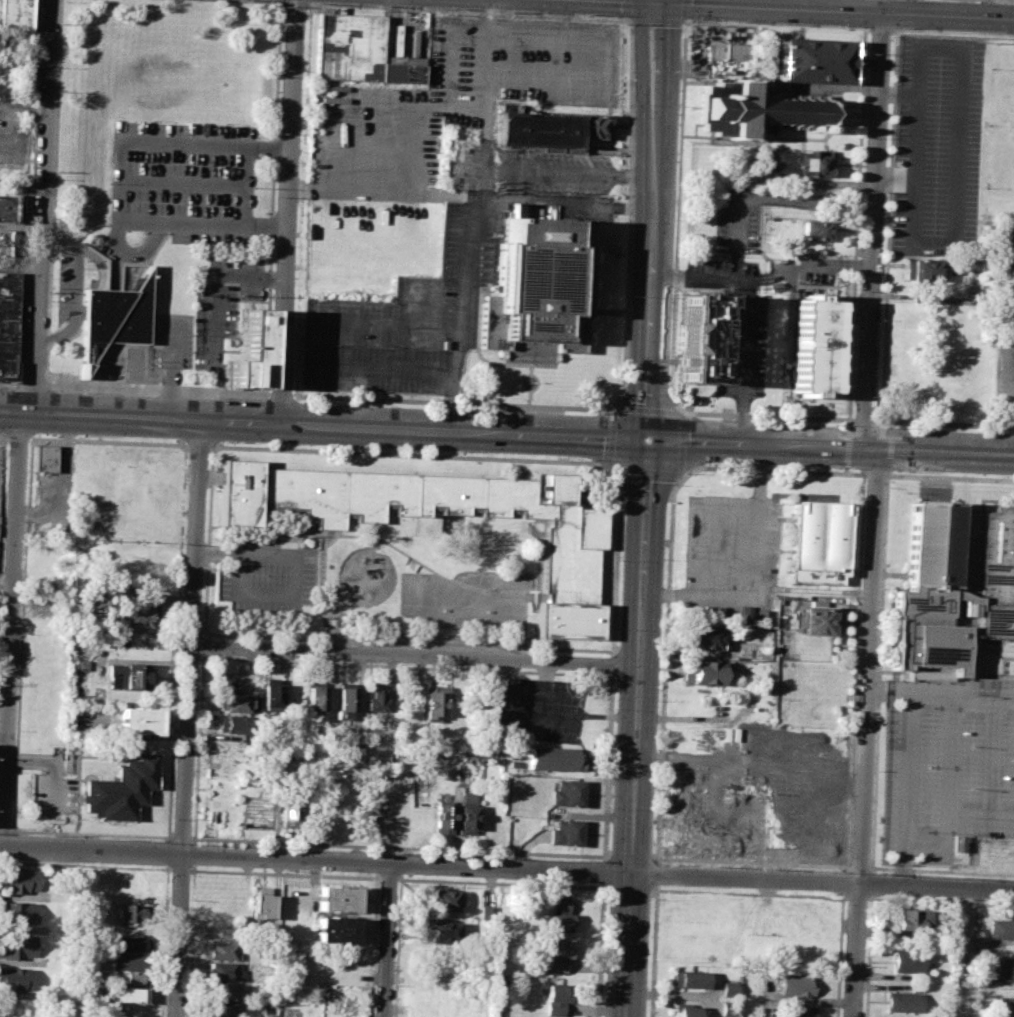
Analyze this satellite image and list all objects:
street lamp: (63, 0)
road: (281, 0)
road: (311, 0)
road: (1012, 0)
road: (246, 1)
street lamp: (315, 2)
road: (654, 2)
road: (656, 2)
road: (295, 3)
traffic signals: (656, 4)
street lamp: (379, 5)
street lamp: (457, 8)
road: (625, 8)
road: (686, 9)
road: (987, 9)
road: (788, 10)
street lamp: (534, 11)
street lamp: (283, 13)
road: (895, 13)
building: (14, 14)
street lamp: (612, 15)
road: (626, 17)
road: (630, 19)
street lamp: (690, 19)
road: (656, 20)
road: (686, 20)
street lamp: (781, 22)
street lamp: (626, 24)
street lamp: (835, 25)
road: (866, 27)
road: (879, 28)
road: (896, 28)
street lamp: (901, 28)
road: (952, 32)
street lamp: (990, 32)
street lamp: (891, 36)
building: (355, 50)
building: (735, 52)
building: (813, 59)
street lamp: (61, 66)
street lamp: (280, 75)
road: (897, 94)
street lamp: (632, 105)
street lamp: (679, 106)
building: (756, 109)
street lamp: (155, 121)
street lamp: (227, 122)
road: (957, 126)
building: (545, 128)
road: (859, 132)
parking lot: (936, 143)
building: (3, 144)
road: (212, 145)
building: (791, 163)
road: (569, 172)
street lamp: (57, 178)
parking lot: (187, 181)
street lamp: (110, 183)
parking lot: (451, 183)
road: (483, 183)
road: (186, 184)
road: (250, 186)
street lamp: (254, 187)
road: (25, 192)
road: (54, 194)
road: (472, 197)
road: (273, 198)
road: (303, 199)
road: (783, 199)
road: (41, 207)
building: (5, 208)
road: (630, 211)
road: (290, 212)
road: (678, 218)
street lamp: (675, 219)
parking lot: (735, 220)
road: (142, 221)
street lamp: (632, 221)
road: (874, 224)
road: (888, 225)
building: (813, 230)
street lamp: (145, 233)
road: (153, 241)
building: (1013, 241)
building: (3, 242)
street lamp: (210, 247)
street lamp: (86, 260)
street lamp: (128, 266)
building: (921, 270)
road: (763, 278)
building: (1012, 278)
building: (537, 285)
road: (217, 286)
road: (74, 287)
building: (774, 287)
street lamp: (55, 293)
street lamp: (629, 295)
street lamp: (672, 297)
road: (415, 302)
parking lot: (222, 303)
road: (601, 311)
road: (624, 312)
building: (113, 315)
street lamp: (271, 318)
building: (7, 323)
parking lot: (736, 324)
building: (696, 338)
parking lot: (172, 341)
road: (529, 344)
street lamp: (333, 345)
road: (529, 346)
building: (810, 346)
street lamp: (389, 347)
road: (841, 348)
street lamp: (446, 349)
building: (244, 350)
road: (476, 354)
flagpole: (148, 357)
road: (742, 361)
flagpole: (148, 364)
road: (525, 364)
road: (531, 365)
road: (172, 369)
road: (373, 369)
street lamp: (49, 372)
road: (520, 382)
flagpole: (528, 382)
road: (8, 384)
road: (34, 386)
street lamp: (267, 388)
street lamp: (675, 389)
road: (160, 391)
street lamp: (87, 392)
road: (528, 395)
street lamp: (616, 395)
road: (280, 397)
street lamp: (223, 398)
street lamp: (328, 402)
road: (528, 404)
road: (611, 406)
street lamp: (461, 408)
street lamp: (597, 412)
road: (766, 416)
street lamp: (701, 418)
road: (851, 420)
road: (863, 420)
road: (882, 421)
street lamp: (834, 424)
road: (949, 424)
road: (324, 426)
street lamp: (904, 426)
street lamp: (85, 436)
road: (5, 437)
road: (17, 437)
road: (30, 439)
traffic signals: (649, 440)
street lamp: (222, 442)
street lamp: (28, 445)
road: (200, 445)
road: (847, 445)
street lamp: (327, 446)
road: (831, 447)
road: (889, 449)
street lamp: (460, 451)
parking lot: (0, 454)
street lamp: (208, 454)
road: (410, 454)
building: (43, 457)
street lamp: (590, 459)
road: (605, 467)
street lamp: (833, 467)
road: (763, 469)
street lamp: (903, 471)
road: (855, 473)
road: (887, 473)
road: (678, 474)
street lamp: (687, 474)
street lamp: (612, 475)
road: (876, 475)
road: (950, 477)
street lamp: (681, 486)
road: (2, 487)
road: (646, 510)
road: (752, 514)
street lamp: (205, 530)
road: (319, 531)
street lamp: (24, 532)
building: (570, 540)
building: (818, 542)
parking lot: (730, 551)
road: (26, 557)
street lamp: (665, 559)
street lamp: (621, 560)
parking lot: (262, 576)
road: (292, 576)
road: (697, 584)
building: (949, 591)
building: (744, 614)
building: (135, 616)
building: (763, 617)
building: (818, 621)
street lamp: (201, 625)
street lamp: (619, 628)
street lamp: (662, 629)
road: (10, 632)
street lamp: (20, 634)
building: (706, 637)
road: (177, 641)
road: (408, 642)
road: (204, 644)
street lamp: (207, 655)
road: (415, 657)
road: (612, 663)
road: (407, 666)
road: (868, 667)
road: (855, 670)
road: (878, 671)
road: (508, 672)
building: (706, 673)
building: (128, 676)
road: (550, 685)
building: (272, 694)
building: (316, 698)
building: (345, 699)
building: (374, 700)
building: (435, 700)
street lamp: (659, 701)
road: (983, 701)
building: (234, 703)
street lamp: (616, 709)
parking lot: (535, 712)
road: (188, 719)
road: (496, 719)
building: (138, 720)
building: (233, 725)
street lamp: (196, 728)
street lamp: (16, 731)
road: (200, 748)
building: (554, 758)
road: (993, 759)
road: (40, 761)
road: (662, 762)
parking lot: (947, 765)
road: (607, 766)
road: (907, 766)
road: (949, 769)
building: (121, 789)
road: (54, 790)
building: (566, 794)
parking lot: (54, 795)
street lamp: (612, 809)
street lamp: (654, 809)
building: (289, 810)
building: (466, 812)
building: (443, 815)
road: (980, 816)
street lamp: (192, 820)
street lamp: (12, 828)
road: (5, 830)
building: (565, 832)
building: (709, 832)
road: (91, 834)
street lamp: (128, 838)
road: (180, 838)
building: (960, 843)
street lamp: (283, 846)
road: (525, 846)
road: (0, 848)
road: (397, 848)
road: (606, 857)
road: (631, 857)
road: (659, 858)
road: (316, 860)
road: (860, 867)
road: (942, 871)
road: (604, 872)
road: (658, 874)
building: (20, 880)
road: (822, 883)
road: (752, 894)
road: (855, 896)
building: (337, 898)
street lamp: (608, 899)
building: (443, 900)
street lamp: (651, 900)
street lamp: (189, 901)
building: (262, 902)
road: (939, 902)
building: (18, 912)
building: (129, 914)
building: (561, 915)
building: (488, 916)
building: (911, 919)
building: (335, 928)
building: (442, 929)
building: (1001, 929)
road: (388, 940)
building: (131, 944)
building: (17, 945)
road: (601, 950)
road: (654, 950)
building: (223, 951)
road: (856, 951)
road: (975, 953)
building: (559, 956)
road: (839, 958)
road: (867, 958)
building: (908, 960)
building: (127, 961)
building: (1004, 969)
building: (225, 972)
building: (129, 977)
building: (16, 979)
building: (688, 979)
building: (796, 984)
street lamp: (648, 988)
building: (729, 988)
street lamp: (604, 990)
building: (223, 991)
building: (124, 995)
building: (556, 998)
building: (903, 1001)
building: (1004, 1006)
building: (728, 1008)
building: (222, 1009)
building: (684, 1009)
building: (799, 1011)

